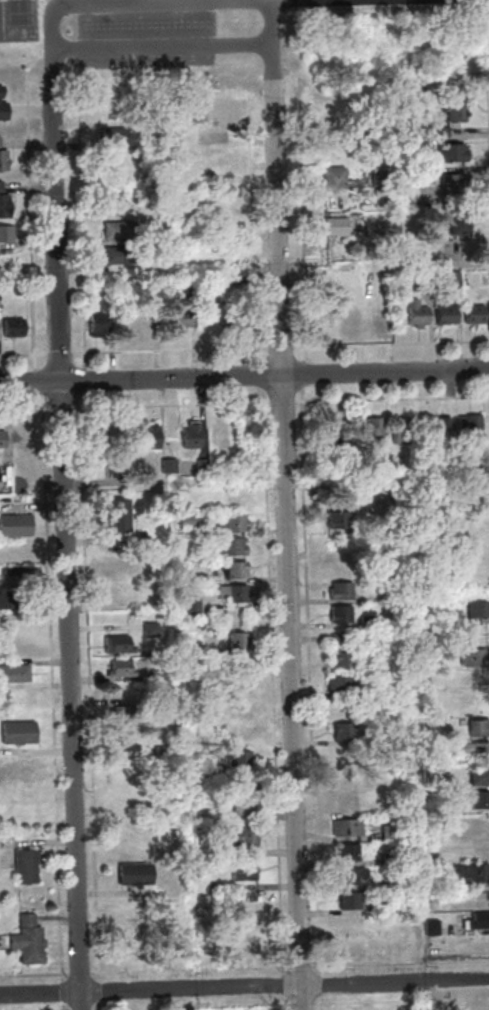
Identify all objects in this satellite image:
road: (66, 2)
road: (149, 2)
park: (17, 19)
parking lot: (147, 34)
park: (235, 35)
road: (53, 38)
road: (273, 40)
road: (163, 47)
road: (486, 70)
building: (413, 84)
road: (261, 101)
building: (3, 106)
building: (458, 107)
road: (41, 110)
building: (215, 114)
road: (289, 118)
road: (69, 127)
building: (334, 128)
building: (222, 133)
building: (443, 133)
building: (117, 137)
building: (412, 148)
building: (454, 154)
building: (4, 159)
building: (218, 159)
building: (336, 177)
building: (381, 180)
building: (454, 184)
building: (5, 204)
building: (461, 223)
building: (338, 227)
building: (121, 231)
road: (254, 232)
building: (8, 235)
road: (33, 241)
road: (304, 241)
road: (84, 248)
building: (122, 256)
building: (454, 278)
building: (428, 281)
building: (244, 283)
building: (346, 284)
building: (1, 289)
building: (25, 291)
building: (419, 314)
building: (477, 315)
building: (376, 316)
building: (448, 316)
building: (210, 318)
building: (351, 319)
building: (183, 320)
building: (239, 321)
building: (100, 326)
building: (15, 329)
road: (392, 345)
road: (282, 348)
road: (172, 352)
road: (62, 355)
road: (25, 356)
road: (244, 376)
road: (262, 377)
road: (303, 377)
road: (84, 381)
road: (40, 384)
road: (393, 400)
road: (283, 403)
road: (172, 406)
road: (26, 410)
road: (63, 410)
building: (472, 426)
building: (375, 430)
building: (444, 430)
building: (402, 432)
building: (339, 433)
building: (25, 436)
building: (194, 436)
building: (152, 437)
building: (222, 437)
building: (99, 439)
building: (3, 441)
building: (384, 463)
building: (118, 467)
building: (171, 467)
building: (231, 467)
building: (204, 468)
building: (8, 474)
building: (473, 493)
building: (120, 517)
building: (340, 520)
building: (192, 521)
building: (235, 524)
building: (17, 527)
building: (468, 534)
road: (67, 543)
road: (287, 545)
building: (235, 548)
building: (13, 551)
building: (473, 562)
building: (337, 566)
building: (121, 567)
building: (237, 571)
building: (165, 576)
building: (15, 578)
building: (194, 581)
building: (343, 591)
building: (118, 593)
building: (235, 594)
building: (12, 602)
building: (194, 605)
building: (343, 614)
building: (478, 614)
building: (370, 621)
building: (152, 631)
building: (241, 641)
building: (451, 642)
building: (119, 646)
building: (13, 651)
building: (342, 653)
building: (217, 657)
building: (475, 658)
building: (122, 670)
building: (16, 675)
building: (160, 675)
building: (476, 680)
road: (274, 683)
road: (311, 683)
building: (342, 686)
road: (90, 687)
building: (238, 688)
road: (54, 689)
building: (400, 692)
building: (124, 693)
building: (162, 699)
building: (238, 710)
building: (127, 716)
building: (173, 724)
building: (480, 728)
building: (346, 734)
building: (20, 735)
building: (240, 736)
building: (199, 743)
building: (127, 744)
building: (481, 751)
building: (163, 752)
building: (347, 755)
building: (241, 760)
building: (199, 769)
building: (481, 777)
building: (351, 778)
building: (481, 801)
building: (346, 803)
building: (247, 807)
building: (349, 829)
building: (391, 833)
building: (246, 842)
building: (482, 847)
building: (350, 853)
building: (392, 861)
building: (28, 869)
building: (246, 873)
building: (472, 874)
building: (137, 876)
building: (351, 877)
building: (394, 884)
building: (212, 891)
building: (478, 895)
building: (352, 902)
building: (379, 909)
building: (479, 923)
building: (355, 924)
building: (434, 929)
building: (134, 938)
building: (30, 943)
building: (354, 950)
building: (245, 954)
road: (401, 965)
road: (302, 968)
road: (192, 971)
road: (35, 975)
road: (82, 975)
road: (322, 986)
road: (244, 987)
road: (285, 987)
road: (101, 992)
road: (65, 993)
road: (402, 1001)
road: (322, 1003)
road: (286, 1004)
road: (304, 1004)
road: (290, 1005)
building: (483, 1005)
road: (101, 1006)
road: (66, 1007)
building: (393, 1008)
building: (350, 1009)

